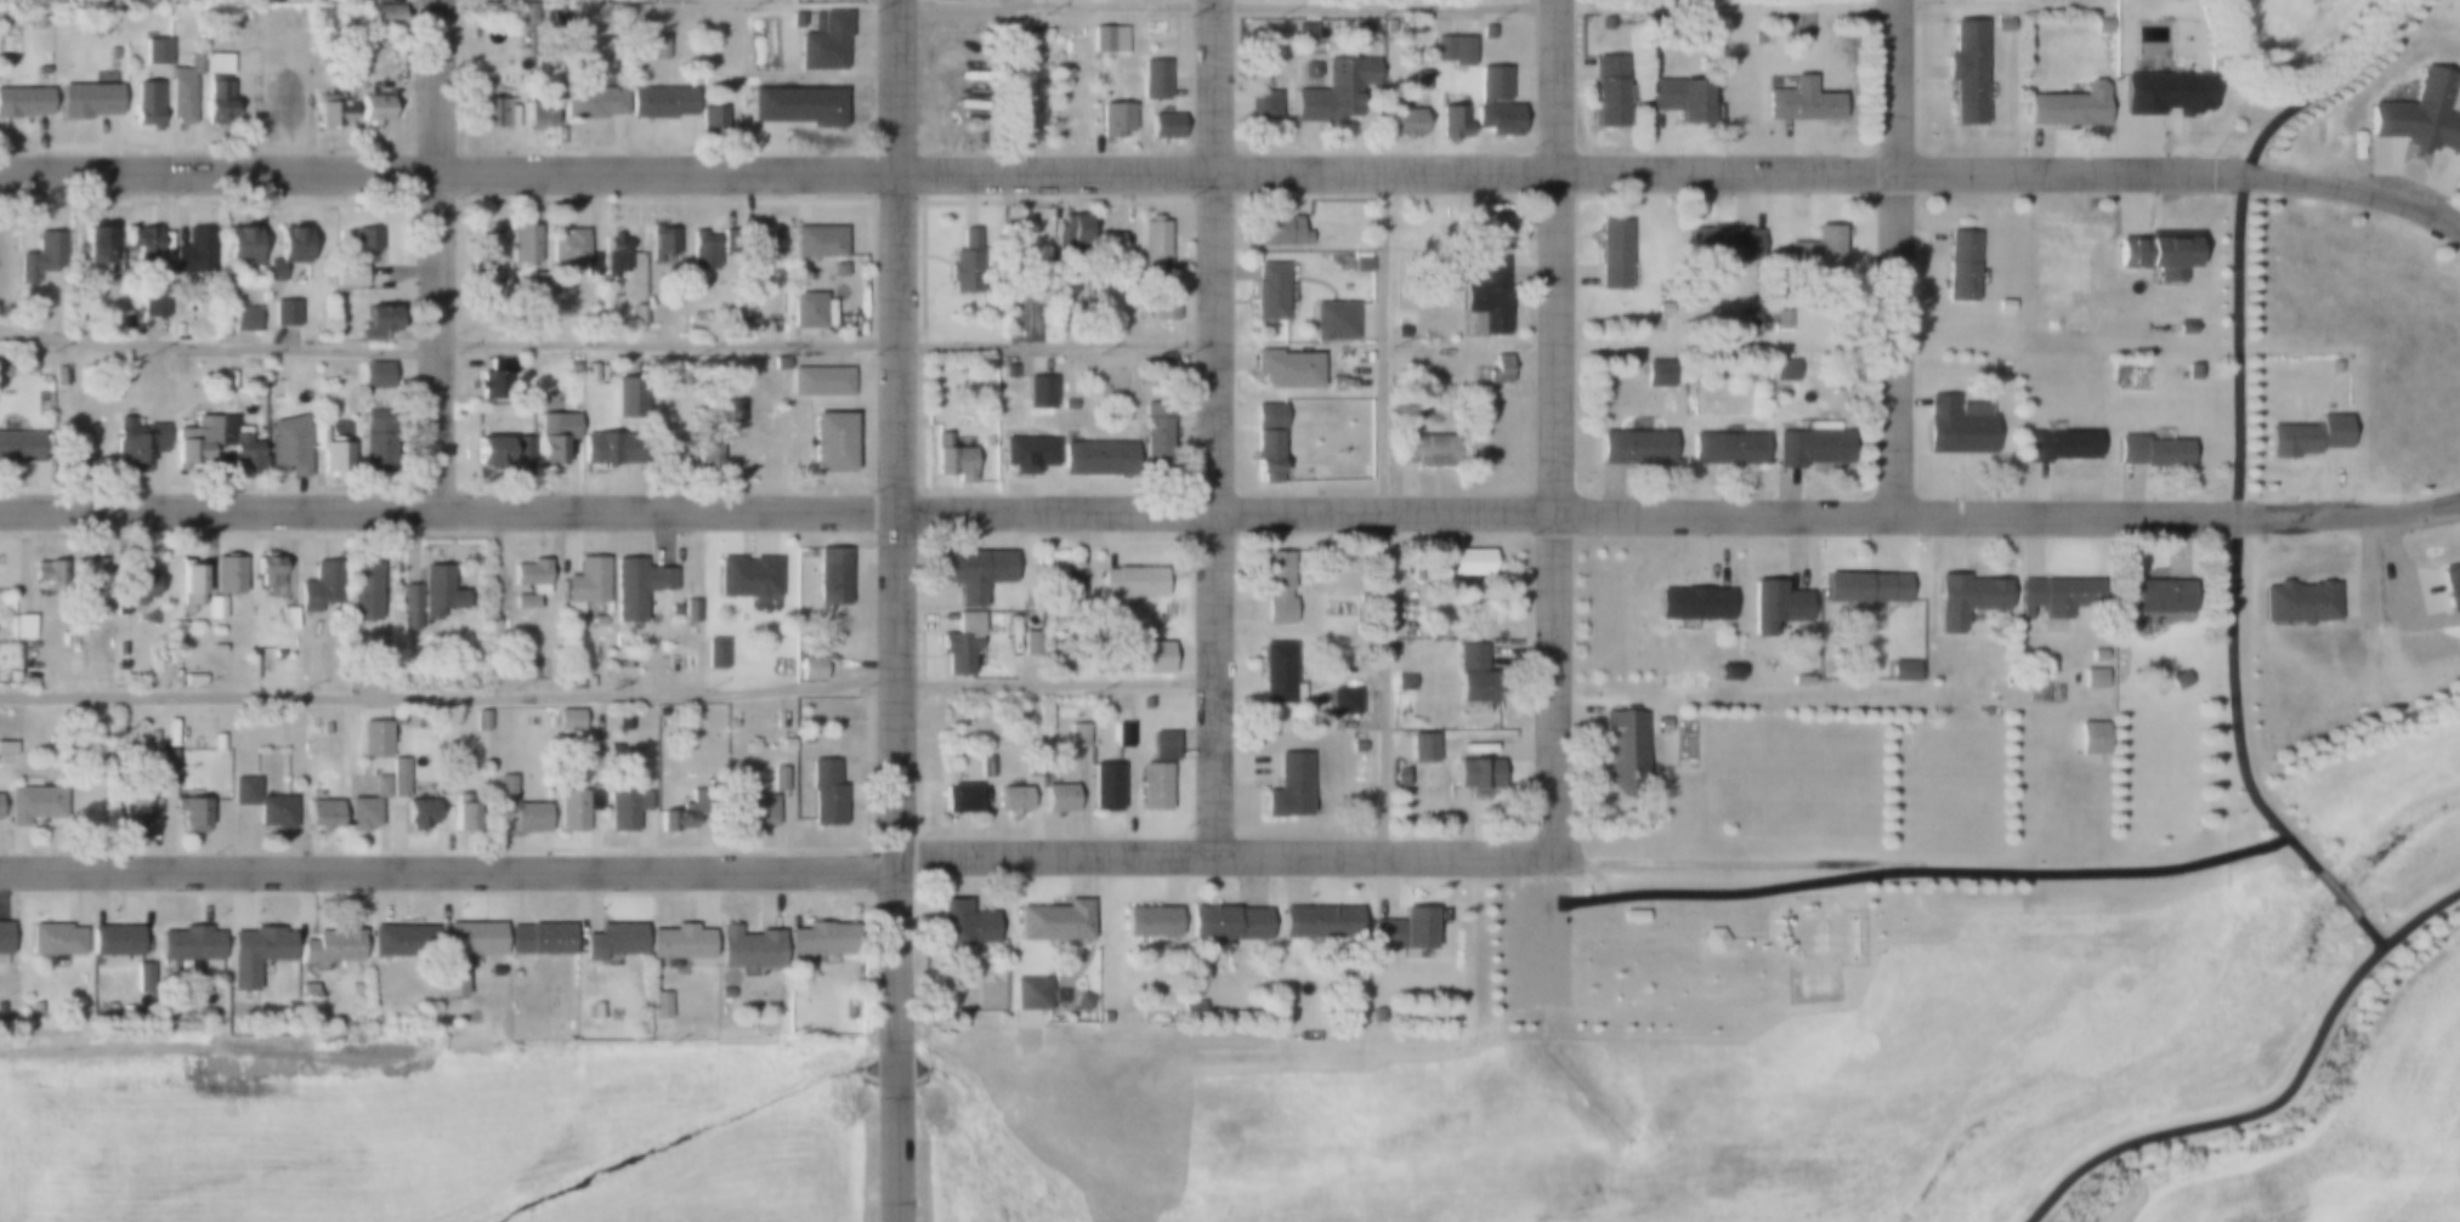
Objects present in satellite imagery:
building: (356, 0)
building: (947, 0)
road: (1226, 5)
building: (382, 16)
building: (793, 19)
building: (38, 22)
building: (2001, 24)
building: (104, 25)
building: (1387, 27)
building: (2099, 27)
building: (1303, 29)
building: (1486, 32)
building: (1107, 40)
building: (821, 41)
building: (1027, 42)
building: (657, 47)
building: (1452, 49)
building: (154, 51)
storage tank: (126, 52)
building: (113, 53)
building: (964, 57)
building: (1962, 70)
building: (1065, 72)
building: (41, 73)
building: (1152, 79)
building: (1419, 80)
building: (217, 89)
building: (182, 90)
building: (1339, 91)
building: (1606, 91)
building: (2164, 93)
building: (86, 101)
building: (1679, 101)
building: (1801, 101)
building: (22, 102)
building: (594, 102)
building: (658, 102)
building: (144, 104)
building: (1262, 104)
building: (1492, 104)
building: (285, 106)
building: (809, 106)
building: (2067, 106)
building: (374, 108)
building: (538, 108)
building: (497, 113)
building: (328, 114)
building: (2419, 116)
building: (714, 119)
building: (1014, 119)
building: (1112, 121)
building: (1449, 121)
building: (1401, 123)
building: (1162, 126)
road: (1235, 170)
building: (1495, 221)
building: (1067, 228)
building: (1280, 232)
building: (1154, 240)
building: (142, 241)
building: (522, 241)
building: (817, 241)
building: (1106, 241)
building: (662, 243)
building: (362, 244)
building: (759, 244)
building: (238, 245)
building: (567, 245)
building: (1717, 245)
building: (93, 246)
building: (195, 246)
building: (287, 249)
building: (1110, 249)
building: (702, 250)
building: (486, 251)
building: (2155, 251)
building: (1804, 252)
building: (962, 254)
building: (1610, 254)
road: (438, 255)
road: (1895, 255)
building: (40, 256)
building: (614, 263)
building: (591, 265)
building: (1959, 267)
building: (347, 275)
building: (535, 285)
building: (1266, 291)
building: (1483, 292)
building: (153, 301)
building: (1161, 302)
building: (2002, 306)
building: (805, 309)
building: (284, 311)
building: (637, 316)
building: (732, 317)
building: (1750, 317)
building: (243, 318)
building: (1332, 319)
building: (375, 322)
building: (1781, 323)
building: (743, 326)
road: (607, 342)
building: (777, 363)
building: (568, 365)
building: (1286, 369)
building: (1782, 370)
building: (4, 371)
building: (1007, 371)
building: (2192, 371)
building: (373, 374)
building: (1655, 374)
building: (493, 375)
building: (59, 376)
building: (818, 380)
building: (1037, 392)
building: (628, 397)
building: (1069, 404)
building: (731, 410)
road: (2237, 417)
building: (1956, 425)
road: (1215, 427)
building: (1154, 430)
road: (1554, 430)
building: (552, 434)
building: (2305, 436)
building: (378, 439)
building: (215, 441)
building: (1264, 441)
building: (828, 442)
building: (132, 443)
building: (1634, 444)
building: (2053, 444)
building: (22, 447)
building: (284, 447)
building: (1724, 447)
building: (603, 448)
building: (1808, 448)
building: (1423, 449)
building: (500, 450)
building: (680, 450)
building: (75, 451)
building: (2149, 453)
building: (1028, 455)
building: (335, 456)
building: (709, 456)
building: (1098, 457)
building: (950, 459)
road: (1230, 511)
road: (1384, 512)
building: (1463, 562)
building: (267, 570)
building: (84, 573)
building: (973, 573)
building: (46, 575)
building: (529, 576)
building: (746, 576)
building: (831, 576)
building: (222, 580)
building: (585, 581)
building: (1058, 582)
building: (1128, 584)
building: (136, 585)
building: (321, 585)
building: (188, 586)
building: (1275, 586)
building: (2450, 586)
building: (634, 587)
building: (1861, 587)
building: (363, 591)
building: (426, 596)
building: (2153, 597)
building: (1961, 601)
building: (2053, 601)
building: (2299, 601)
building: (522, 602)
building: (1690, 602)
building: (1772, 604)
building: (671, 608)
building: (688, 610)
road: (895, 610)
building: (288, 619)
building: (671, 620)
building: (596, 621)
building: (22, 629)
building: (1028, 641)
building: (959, 643)
building: (215, 647)
building: (713, 652)
building: (276, 654)
building: (2096, 655)
building: (1163, 663)
building: (809, 669)
building: (1899, 670)
building: (1272, 673)
building: (1468, 673)
building: (1721, 673)
building: (11, 676)
building: (2090, 678)
building: (193, 680)
building: (2176, 681)
building: (1400, 682)
building: (577, 683)
building: (1294, 690)
road: (607, 693)
building: (1340, 701)
building: (1145, 704)
building: (1020, 709)
building: (567, 720)
building: (964, 720)
building: (480, 721)
building: (729, 723)
building: (622, 724)
building: (1661, 724)
building: (1121, 734)
building: (1076, 735)
building: (151, 737)
building: (373, 739)
building: (2086, 739)
building: (166, 741)
building: (1162, 745)
building: (1354, 746)
building: (6, 748)
building: (1419, 748)
building: (1621, 750)
building: (165, 761)
building: (984, 766)
building: (1472, 773)
building: (397, 777)
building: (1402, 777)
building: (776, 778)
building: (503, 786)
building: (1104, 788)
building: (1151, 788)
building: (242, 789)
building: (1286, 789)
building: (822, 794)
building: (958, 797)
building: (1058, 797)
building: (1011, 800)
building: (364, 805)
building: (0, 806)
building: (34, 806)
building: (573, 807)
building: (134, 808)
building: (624, 808)
building: (748, 809)
building: (272, 811)
building: (321, 812)
building: (191, 813)
building: (414, 813)
building: (460, 814)
building: (676, 815)
building: (528, 817)
road: (820, 863)
road: (2335, 893)
building: (1631, 916)
building: (1052, 921)
building: (1146, 922)
building: (1316, 922)
building: (1224, 923)
building: (958, 925)
building: (1401, 930)
road: (2367, 930)
building: (2, 937)
building: (470, 937)
building: (539, 937)
building: (110, 938)
building: (816, 938)
building: (52, 939)
building: (608, 939)
building: (399, 940)
building: (1710, 940)
building: (675, 944)
parking lot: (1531, 945)
building: (329, 947)
building: (746, 947)
building: (186, 951)
building: (254, 953)
building: (492, 971)
building: (142, 977)
building: (792, 977)
building: (447, 982)
building: (305, 990)
building: (721, 994)
building: (1028, 994)
building: (1081, 1000)
building: (657, 1005)
building: (1195, 1005)
building: (1344, 1005)
building: (353, 1010)
building: (593, 1011)
building: (203, 1013)
building: (1374, 1014)
building: (1103, 1017)
road: (2275, 1101)

